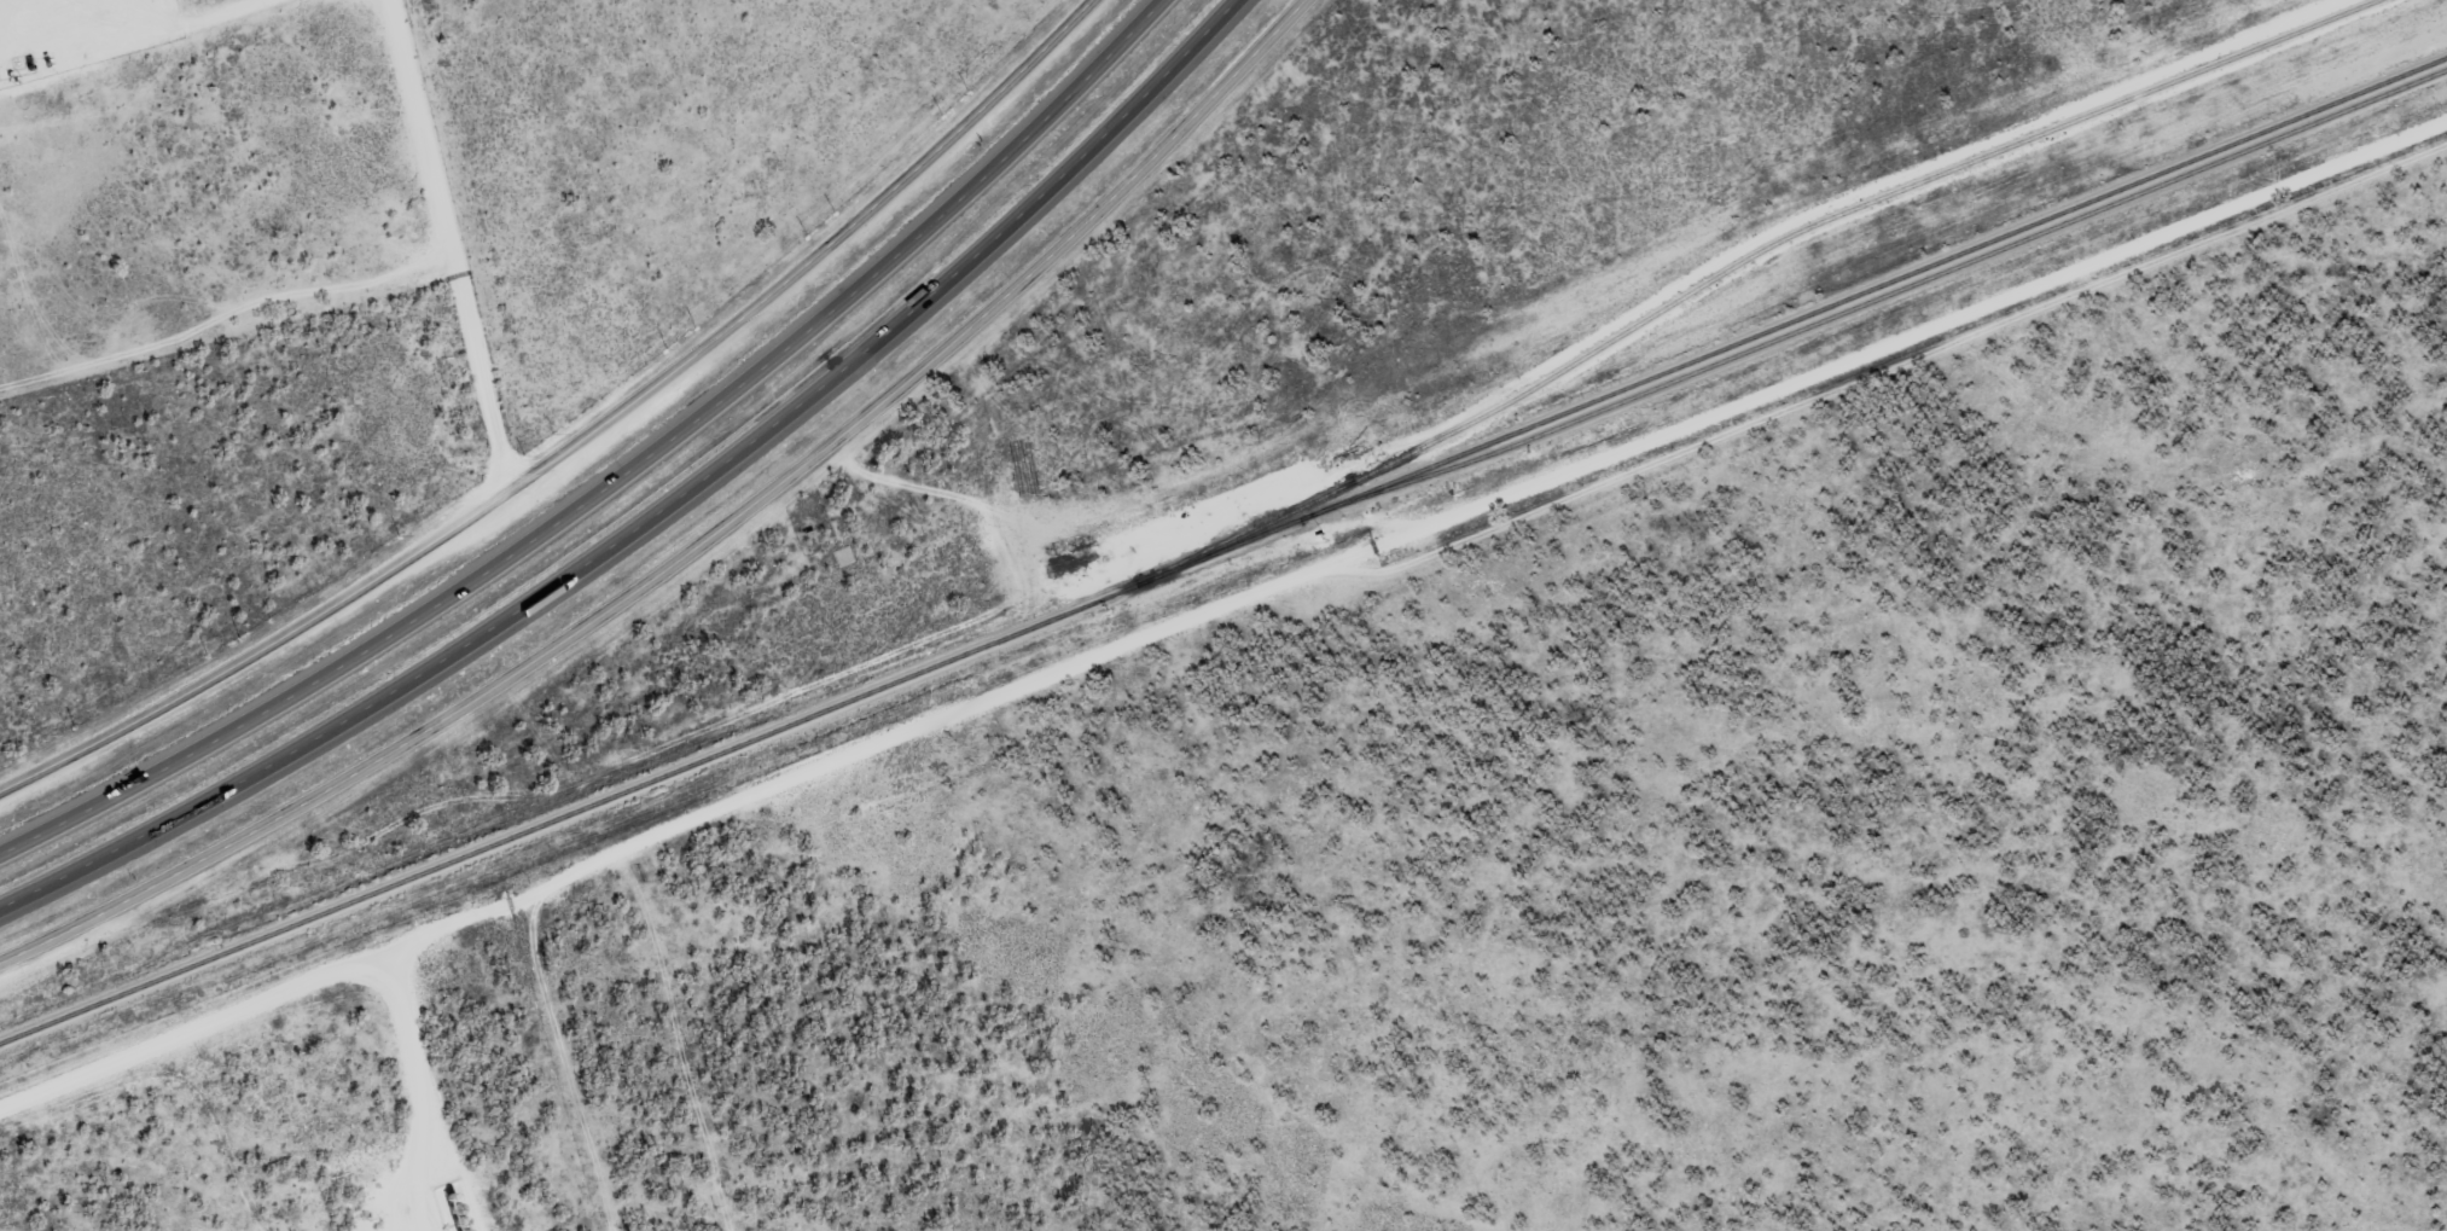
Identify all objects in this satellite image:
road: (1178, 124)
road: (454, 243)
railway: (1737, 263)
railway: (1896, 290)
road: (581, 440)
road: (618, 478)
road: (659, 510)
railway: (1223, 550)
building: (843, 557)
road: (556, 644)

